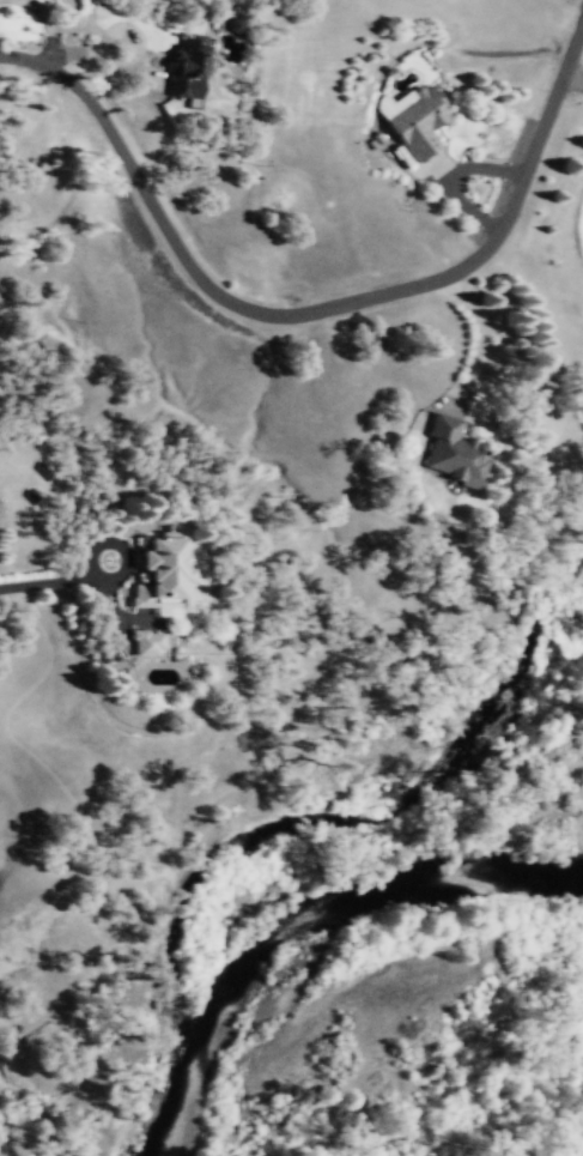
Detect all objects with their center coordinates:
building: (233, 23)
road: (115, 26)
road: (49, 28)
road: (75, 50)
building: (188, 67)
road: (144, 71)
road: (576, 78)
building: (417, 117)
road: (449, 174)
road: (303, 310)
road: (475, 338)
building: (453, 450)
road: (122, 545)
building: (164, 570)
road: (44, 580)
building: (145, 641)
river: (527, 878)
river: (303, 909)
river: (175, 1098)

